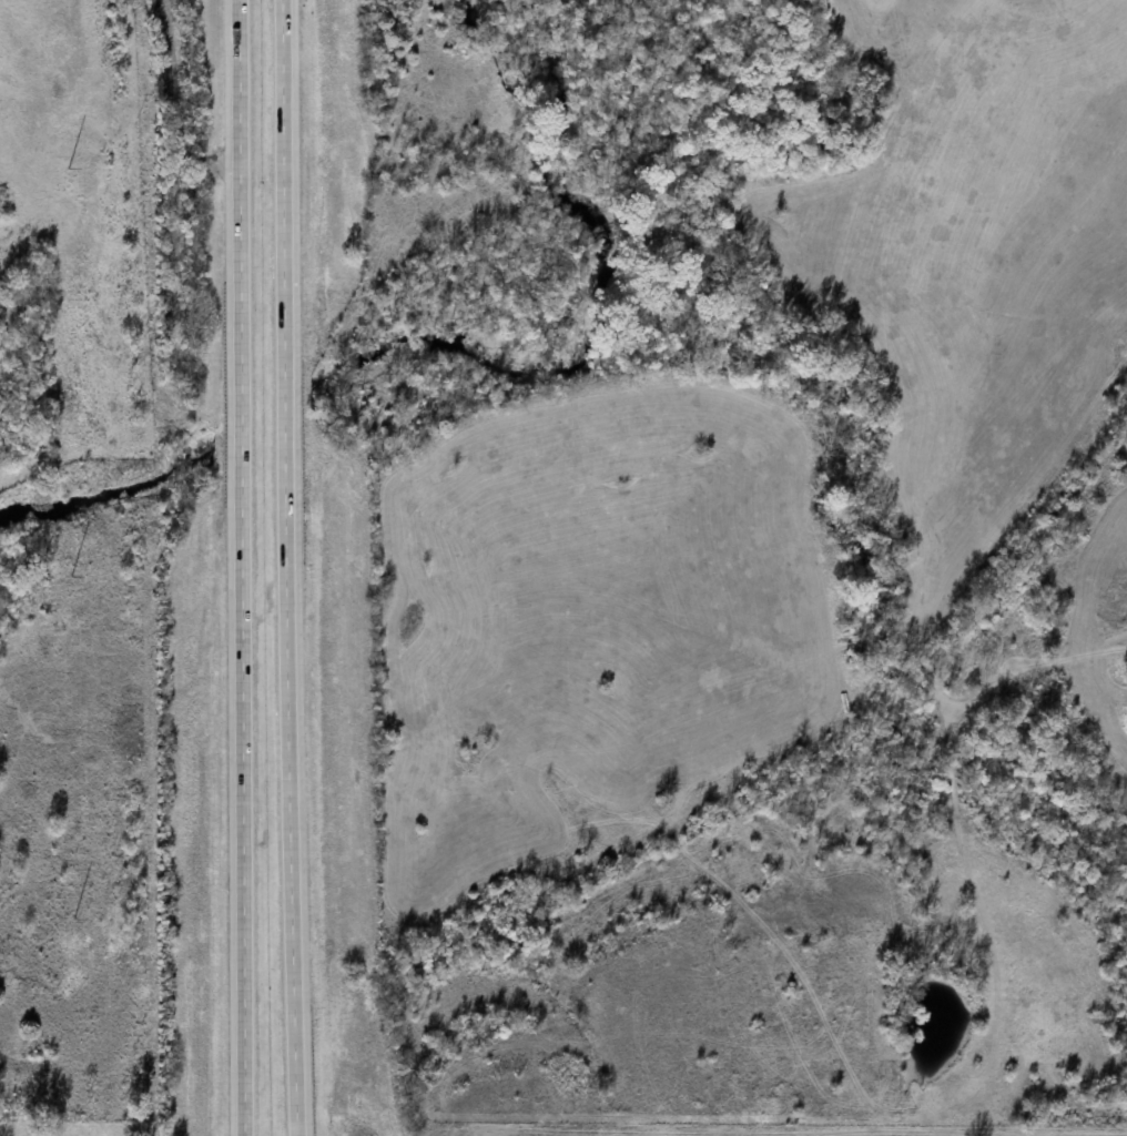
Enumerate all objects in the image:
road: (230, 568)
road: (273, 568)

